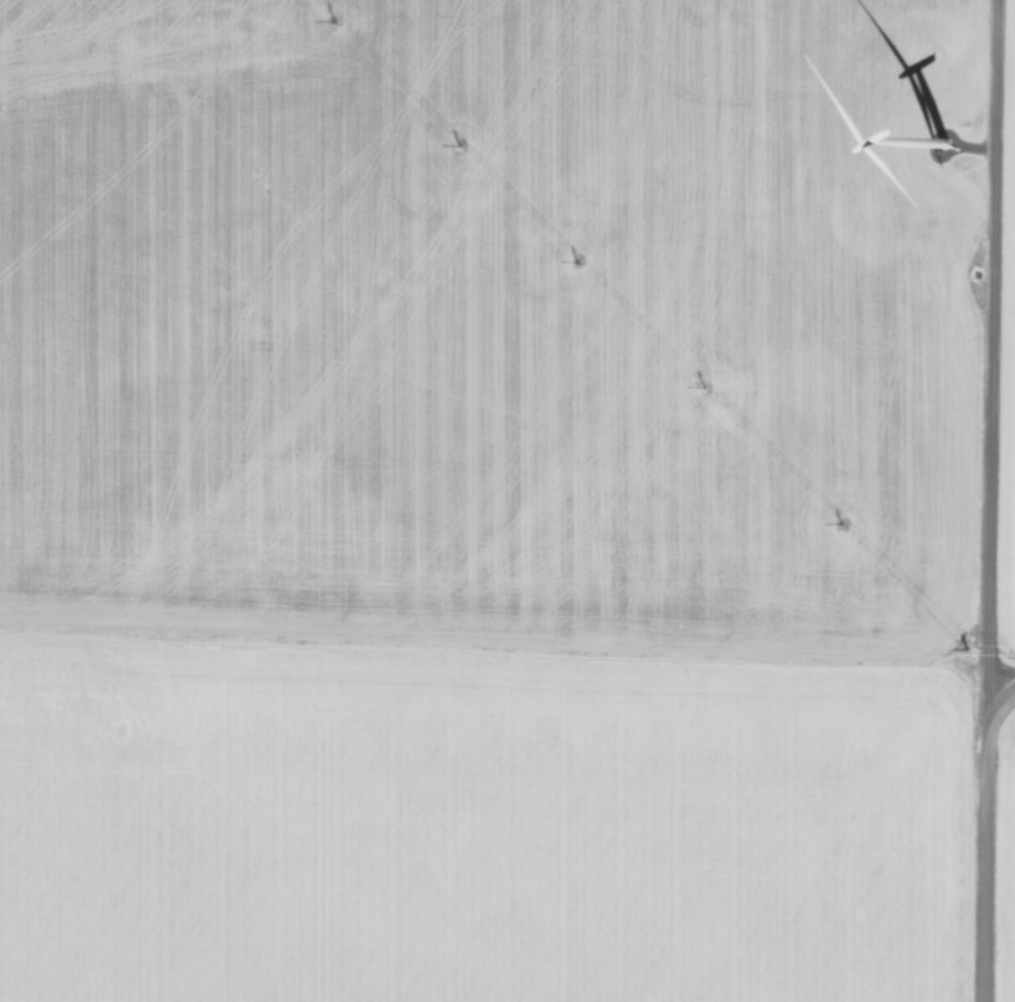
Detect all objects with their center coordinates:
wind turbine: (932, 170)
road: (983, 347)
road: (978, 832)

